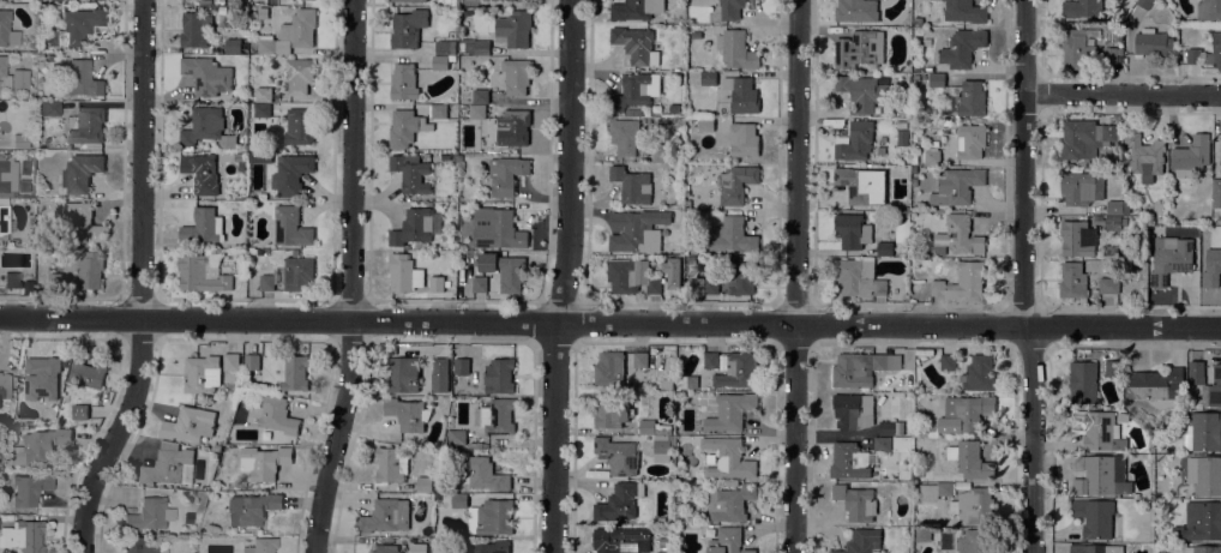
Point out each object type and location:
building: (43, 0)
building: (405, 0)
building: (524, 0)
building: (205, 1)
building: (1144, 2)
building: (636, 8)
building: (732, 8)
building: (1082, 8)
building: (1209, 8)
building: (856, 10)
building: (966, 11)
building: (467, 12)
building: (78, 25)
building: (300, 26)
building: (408, 28)
building: (512, 28)
building: (7, 29)
building: (194, 29)
building: (1154, 42)
building: (264, 43)
building: (636, 43)
building: (233, 46)
building: (475, 46)
building: (445, 47)
building: (962, 47)
building: (1078, 47)
building: (859, 48)
building: (736, 49)
building: (1214, 50)
building: (1109, 54)
building: (28, 55)
building: (269, 55)
building: (1195, 55)
building: (50, 56)
building: (441, 61)
building: (4, 73)
building: (299, 73)
building: (206, 74)
building: (516, 74)
building: (708, 77)
building: (20, 78)
building: (82, 79)
building: (937, 79)
building: (403, 80)
building: (636, 89)
building: (864, 91)
building: (263, 92)
building: (741, 92)
road: (1123, 94)
building: (32, 96)
building: (481, 96)
building: (972, 97)
building: (48, 108)
building: (261, 109)
building: (438, 110)
building: (477, 110)
building: (85, 124)
building: (705, 124)
building: (902, 124)
building: (299, 125)
building: (515, 125)
building: (202, 126)
building: (407, 127)
building: (625, 134)
building: (1085, 137)
building: (744, 139)
building: (20, 140)
building: (855, 140)
building: (970, 140)
building: (243, 146)
building: (1220, 149)
building: (661, 154)
building: (1144, 155)
building: (1191, 155)
building: (239, 156)
building: (932, 156)
building: (255, 157)
building: (459, 161)
road: (572, 162)
road: (1024, 163)
building: (80, 172)
building: (202, 172)
building: (7, 173)
building: (290, 173)
building: (410, 173)
building: (506, 174)
building: (735, 182)
building: (860, 182)
building: (632, 184)
building: (956, 185)
building: (1082, 187)
building: (1216, 192)
building: (261, 194)
building: (463, 206)
building: (1117, 206)
road: (1040, 209)
building: (4, 218)
building: (82, 220)
building: (1114, 222)
building: (203, 226)
building: (290, 226)
building: (413, 227)
building: (497, 228)
building: (637, 229)
building: (853, 229)
building: (732, 235)
building: (958, 235)
building: (1077, 238)
building: (14, 241)
building: (884, 247)
building: (216, 250)
building: (263, 252)
building: (421, 253)
building: (1171, 258)
building: (464, 262)
building: (1211, 268)
building: (89, 269)
building: (404, 272)
building: (200, 274)
building: (290, 274)
building: (512, 274)
building: (621, 274)
building: (742, 276)
road: (798, 276)
road: (351, 277)
building: (859, 277)
building: (12, 278)
building: (55, 279)
building: (962, 279)
building: (1075, 281)
road: (144, 282)
building: (435, 282)
building: (654, 284)
building: (711, 284)
building: (1108, 284)
building: (904, 296)
road: (610, 323)
building: (640, 359)
building: (711, 359)
building: (230, 360)
building: (885, 360)
building: (252, 361)
building: (948, 361)
building: (462, 365)
building: (609, 367)
building: (1113, 367)
building: (739, 369)
building: (850, 371)
building: (1197, 371)
building: (293, 372)
building: (979, 372)
building: (202, 373)
building: (403, 373)
building: (85, 374)
building: (440, 374)
building: (499, 374)
building: (43, 378)
building: (687, 381)
building: (1083, 381)
building: (1155, 383)
building: (4, 385)
building: (1213, 387)
building: (854, 409)
building: (79, 410)
building: (610, 410)
building: (730, 410)
building: (407, 413)
building: (964, 413)
building: (276, 414)
building: (495, 415)
building: (4, 420)
building: (188, 423)
building: (654, 426)
building: (891, 426)
building: (1099, 429)
building: (1203, 431)
building: (457, 435)
road: (557, 438)
road: (1033, 439)
building: (882, 443)
building: (475, 444)
building: (38, 445)
building: (216, 446)
building: (662, 447)
building: (618, 455)
building: (727, 457)
building: (970, 459)
building: (263, 461)
building: (849, 461)
building: (169, 464)
building: (391, 464)
building: (482, 474)
building: (1100, 474)
building: (1204, 474)
building: (732, 482)
building: (423, 483)
building: (30, 488)
building: (936, 489)
building: (459, 500)
building: (620, 501)
building: (730, 501)
building: (856, 501)
building: (974, 505)
building: (251, 509)
building: (149, 515)
building: (385, 516)
building: (494, 516)
building: (1094, 517)
building: (1203, 519)
building: (924, 534)
building: (25, 535)
building: (621, 540)
building: (975, 540)
building: (663, 541)
building: (727, 541)
building: (861, 541)
building: (261, 545)
building: (420, 545)
building: (139, 546)
building: (486, 547)
building: (384, 548)
building: (1095, 548)
building: (1202, 548)

